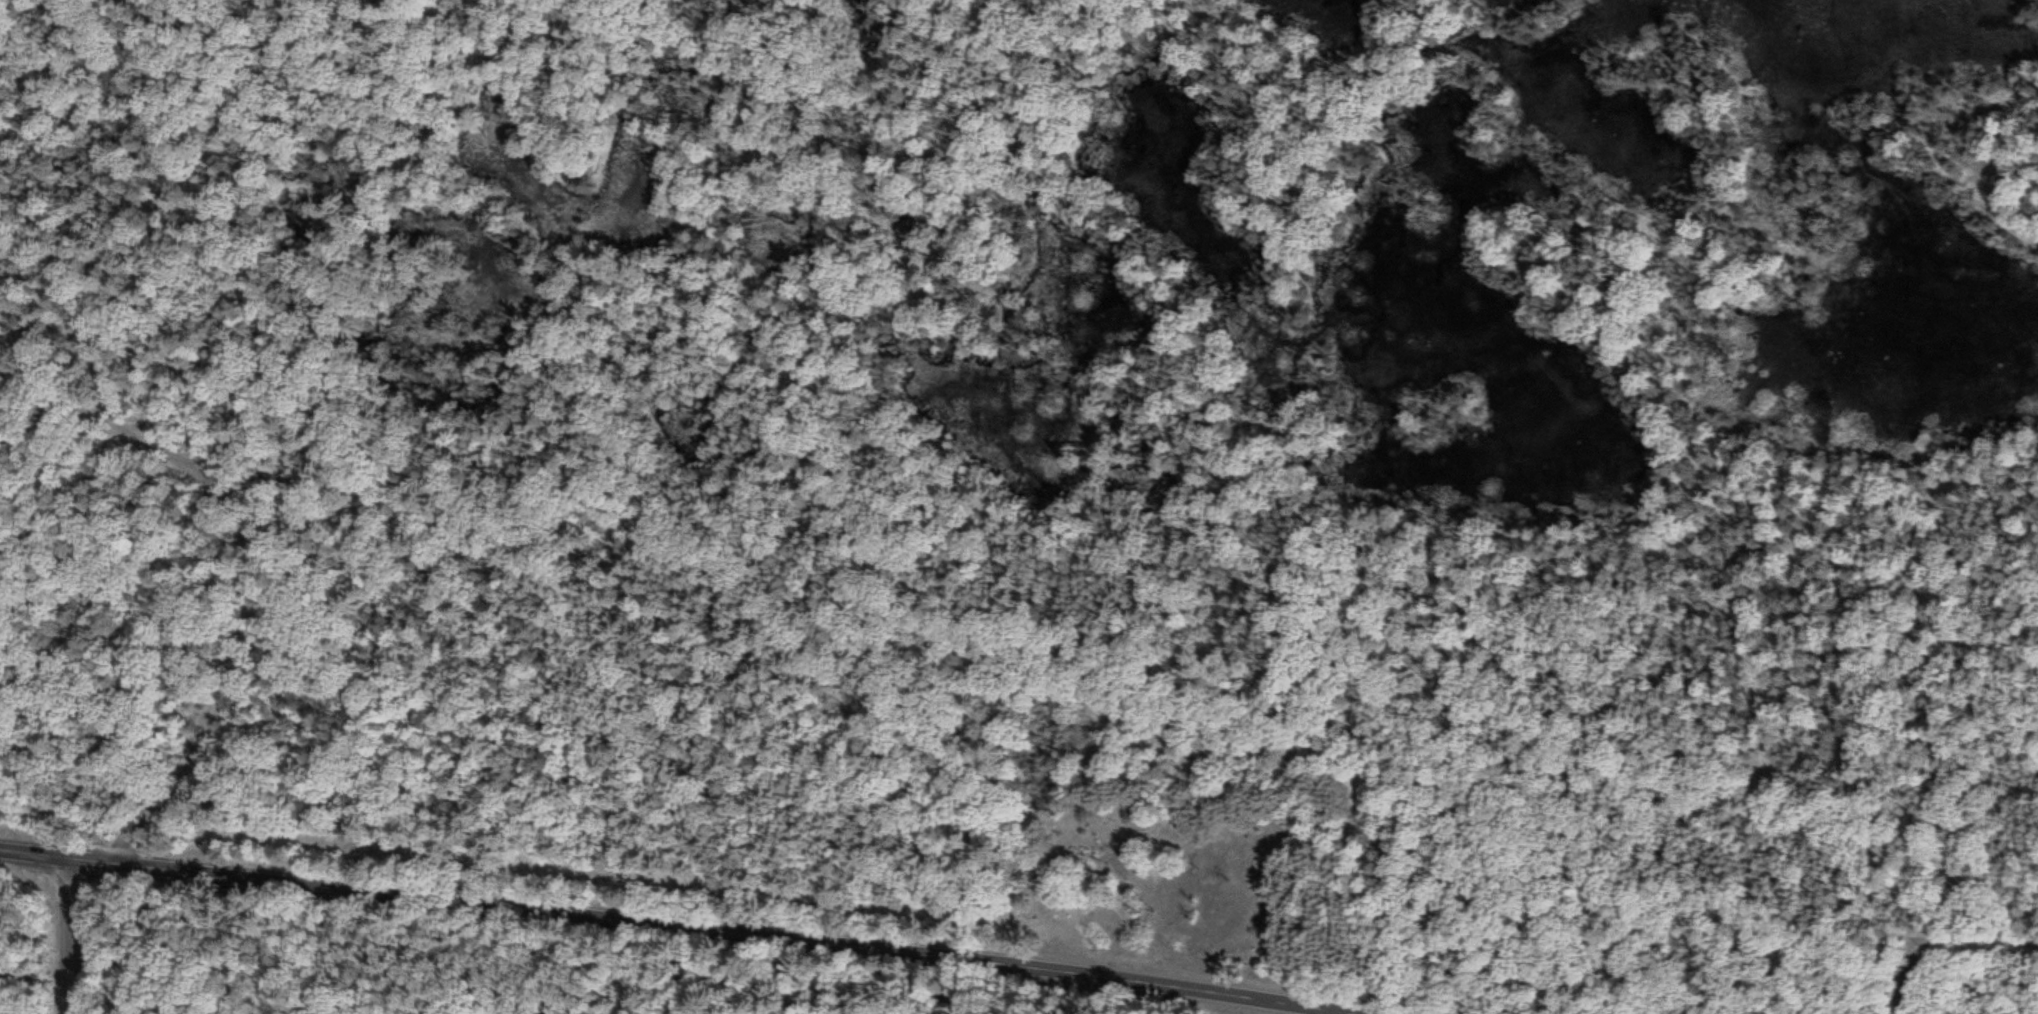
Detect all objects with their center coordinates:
road: (70, 443)
road: (1175, 511)
road: (253, 563)
road: (680, 928)
road: (69, 936)

